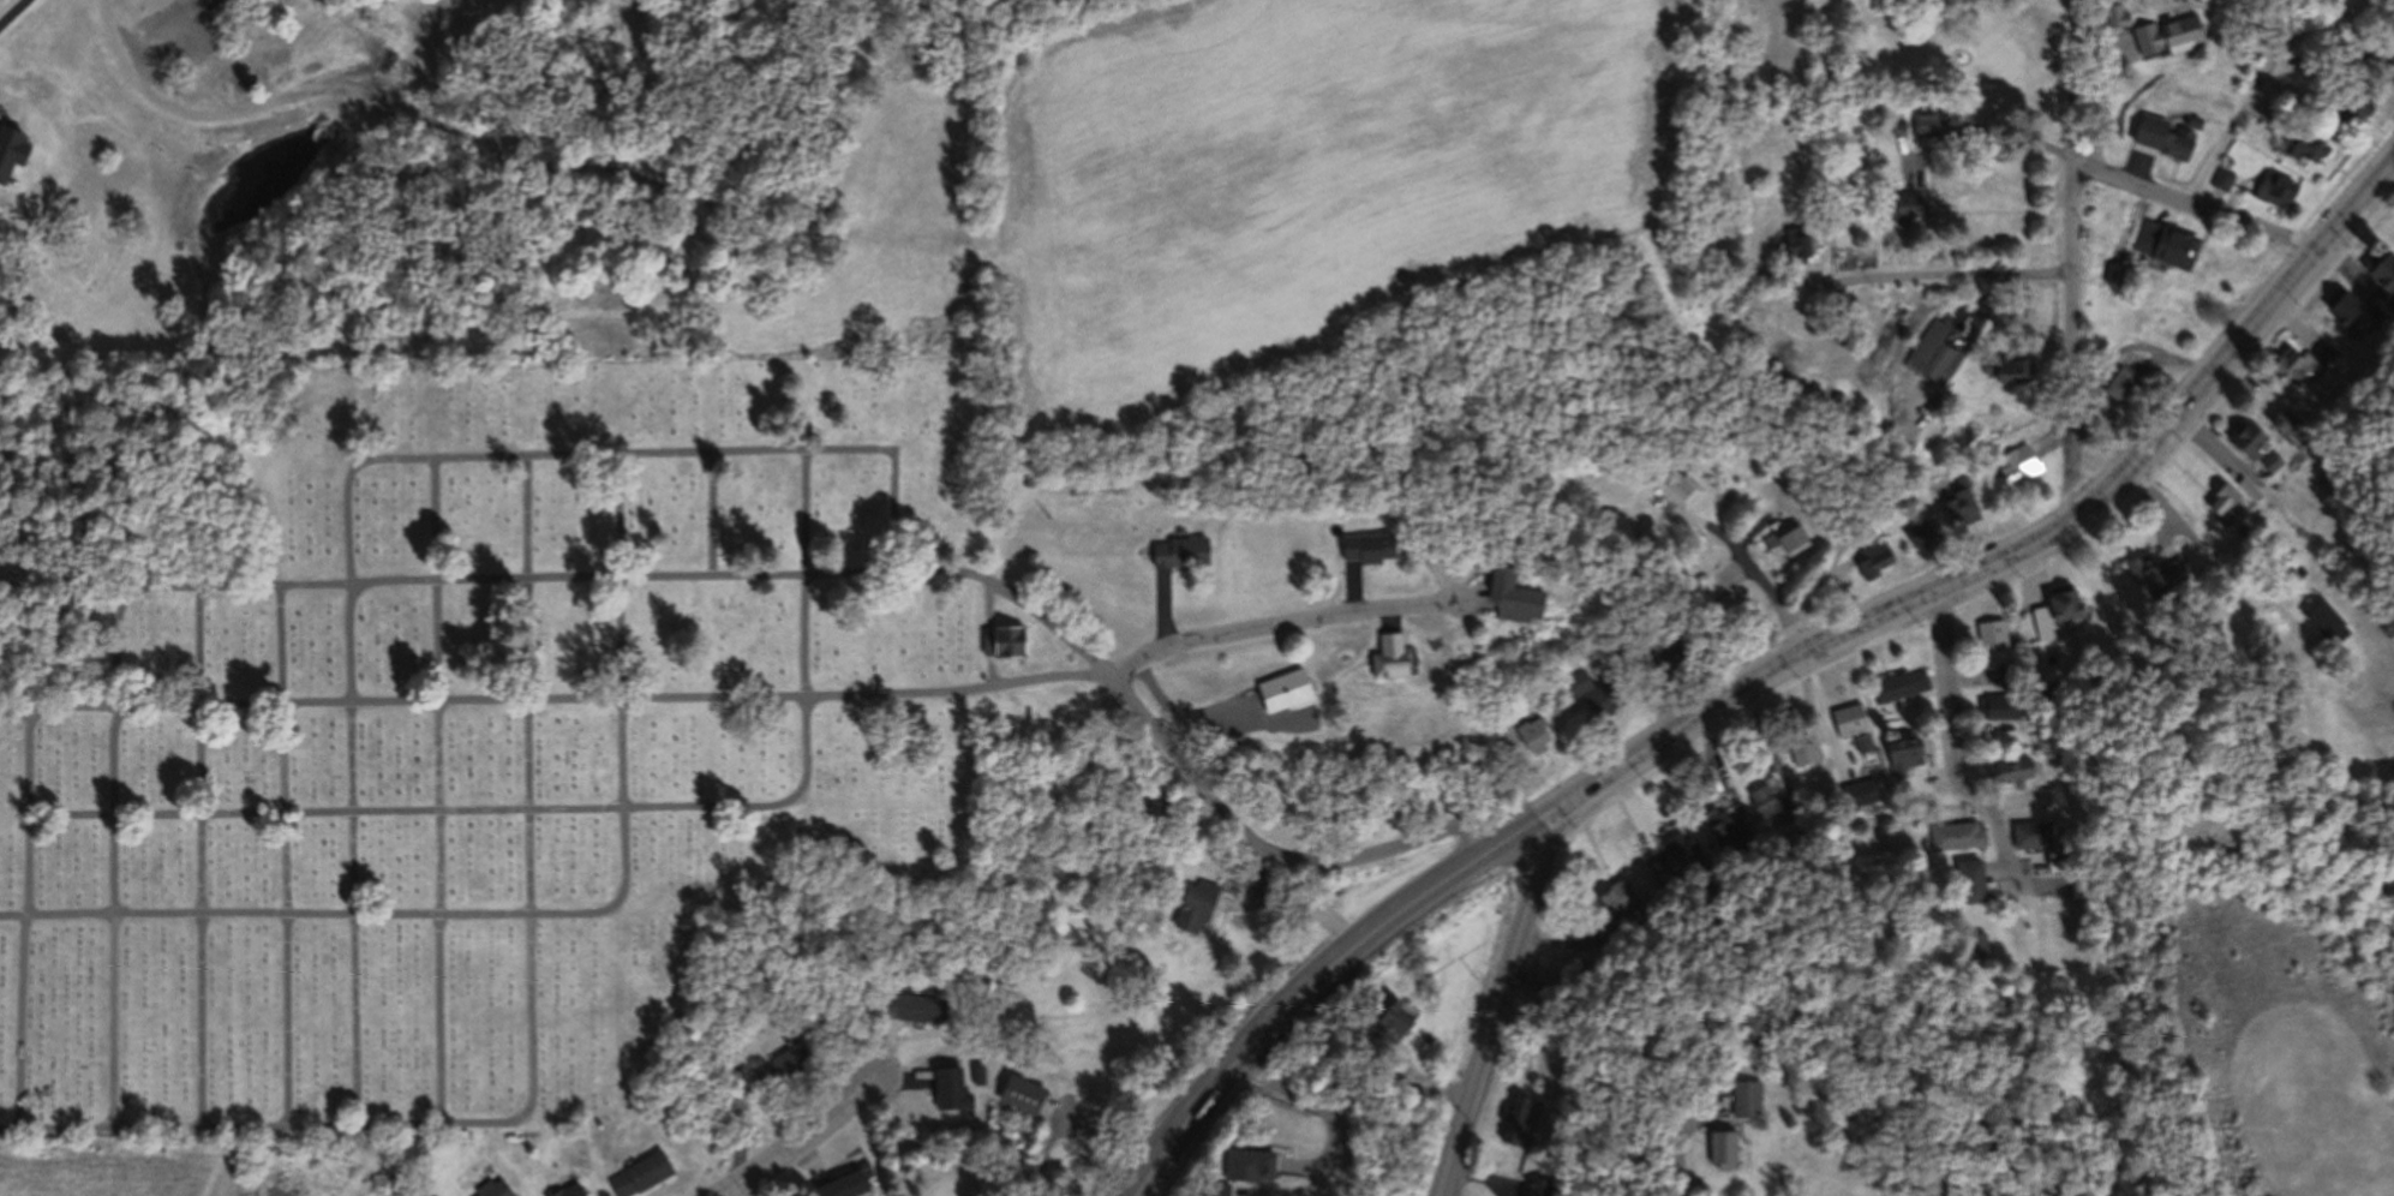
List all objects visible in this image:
building: (2114, 19)
road: (2312, 29)
building: (2162, 40)
building: (2387, 68)
road: (2069, 82)
road: (2097, 97)
building: (2352, 102)
road: (225, 103)
road: (2249, 103)
building: (2270, 113)
building: (2191, 122)
building: (1896, 126)
building: (1922, 131)
road: (1985, 133)
building: (2161, 136)
building: (2308, 139)
building: (2222, 174)
building: (2276, 185)
road: (2197, 199)
building: (1901, 210)
building: (2166, 243)
building: (1794, 246)
building: (2387, 264)
building: (2113, 273)
road: (1922, 279)
building: (2393, 289)
building: (2350, 301)
building: (2381, 301)
road: (2070, 337)
building: (2330, 342)
road: (2112, 348)
building: (1927, 352)
building: (2297, 357)
building: (2009, 371)
building: (2123, 381)
building: (1933, 409)
building: (2288, 413)
building: (1829, 414)
building: (2250, 433)
building: (2276, 453)
road: (1893, 458)
building: (2016, 464)
road: (358, 468)
building: (2251, 478)
building: (1677, 489)
building: (2228, 496)
building: (1962, 501)
road: (712, 515)
building: (1920, 531)
road: (1724, 533)
building: (1782, 544)
road: (2215, 548)
building: (1180, 551)
building: (1366, 551)
building: (2286, 556)
building: (1872, 557)
building: (2304, 562)
building: (2157, 566)
road: (640, 580)
building: (1507, 599)
building: (2060, 605)
building: (1729, 606)
building: (2333, 611)
building: (2321, 621)
road: (1277, 624)
building: (1998, 628)
road: (989, 634)
building: (1005, 647)
building: (1664, 651)
building: (1385, 659)
building: (2011, 664)
building: (1659, 666)
road: (1762, 666)
building: (1903, 680)
building: (2055, 680)
building: (1596, 692)
building: (1281, 694)
building: (2004, 699)
road: (552, 701)
park: (465, 718)
building: (1857, 722)
building: (1533, 731)
road: (1956, 735)
building: (1807, 743)
building: (1905, 749)
building: (2015, 761)
building: (2009, 771)
building: (1862, 788)
road: (437, 790)
building: (1772, 797)
road: (587, 813)
building: (1724, 820)
building: (2039, 824)
building: (1961, 829)
building: (2031, 836)
building: (2065, 847)
building: (1689, 848)
road: (1276, 854)
building: (1680, 854)
road: (286, 857)
road: (199, 859)
building: (1975, 871)
building: (2085, 872)
building: (1252, 873)
building: (1623, 887)
building: (1198, 899)
road: (1298, 903)
road: (534, 914)
road: (22, 921)
road: (1563, 932)
building: (1977, 947)
building: (1557, 961)
road: (1500, 1000)
building: (915, 1005)
building: (1393, 1010)
building: (723, 1050)
building: (786, 1060)
building: (980, 1069)
building: (952, 1086)
building: (1024, 1090)
building: (1747, 1096)
road: (1319, 1104)
building: (1520, 1111)
road: (1073, 1118)
road: (376, 1126)
road: (56, 1130)
road: (794, 1132)
road: (1682, 1132)
building: (1723, 1146)
building: (403, 1159)
building: (1249, 1161)
building: (644, 1171)
building: (1543, 1180)
building: (842, 1183)
road: (1447, 1185)
building: (495, 1189)
building: (576, 1192)
building: (559, 1195)

